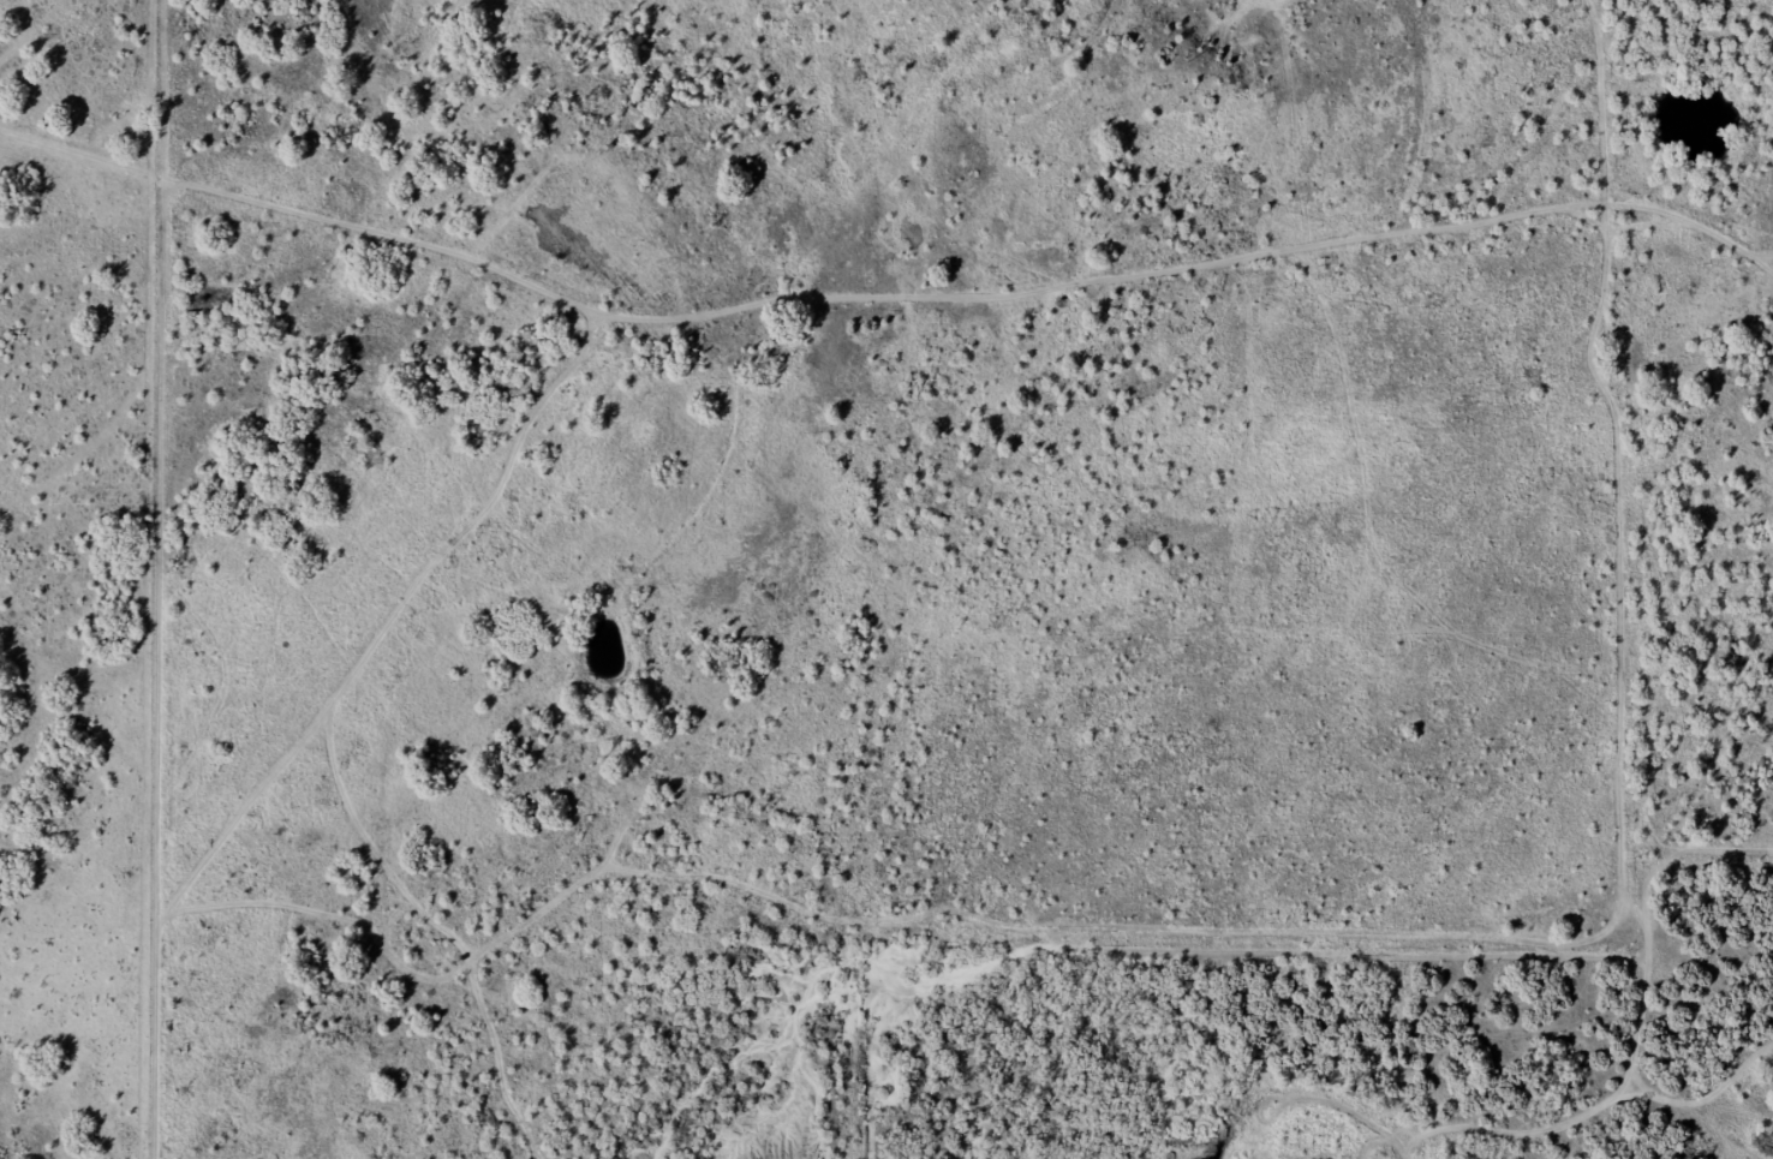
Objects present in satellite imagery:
road: (1482, 241)
road: (715, 343)
road: (1456, 1103)

